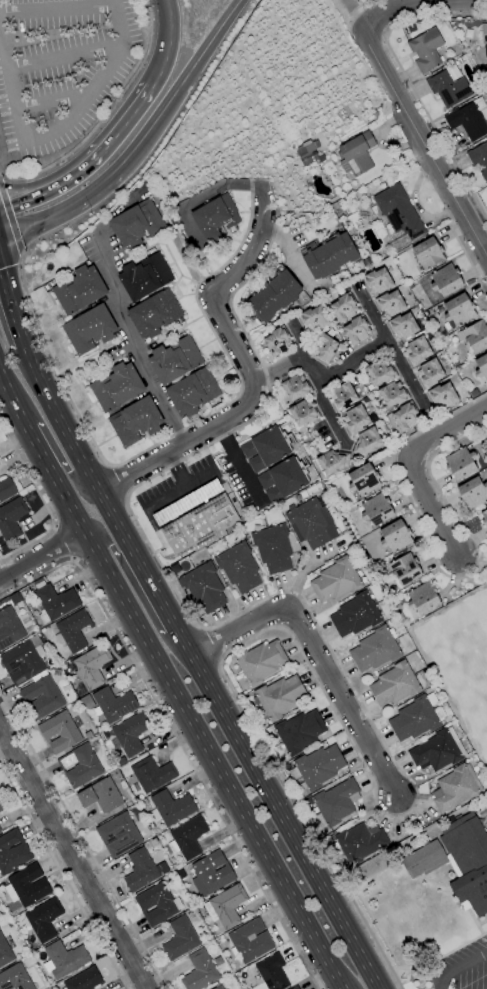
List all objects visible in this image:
road: (359, 6)
road: (391, 8)
road: (57, 9)
road: (356, 14)
building: (484, 36)
road: (166, 41)
building: (426, 50)
road: (66, 56)
parking lot: (60, 67)
road: (409, 82)
road: (180, 84)
building: (450, 86)
road: (53, 99)
building: (386, 109)
building: (469, 119)
road: (58, 129)
road: (424, 145)
road: (3, 151)
building: (309, 152)
building: (356, 154)
building: (479, 158)
road: (89, 159)
road: (11, 178)
road: (206, 193)
road: (63, 212)
building: (400, 216)
road: (11, 217)
building: (216, 217)
building: (137, 223)
road: (452, 231)
building: (311, 245)
road: (23, 253)
building: (428, 254)
road: (290, 255)
building: (331, 255)
road: (470, 261)
building: (367, 262)
building: (145, 276)
building: (379, 280)
building: (446, 280)
building: (79, 289)
building: (277, 295)
building: (391, 303)
building: (344, 307)
building: (440, 309)
road: (10, 310)
building: (459, 310)
building: (155, 313)
building: (314, 319)
building: (273, 325)
building: (404, 325)
road: (226, 326)
building: (90, 329)
building: (357, 330)
building: (475, 336)
road: (298, 338)
road: (131, 340)
building: (278, 341)
building: (324, 346)
road: (388, 346)
building: (437, 348)
building: (418, 350)
road: (355, 358)
building: (175, 359)
road: (291, 363)
building: (481, 366)
building: (381, 371)
building: (431, 372)
building: (117, 387)
building: (296, 387)
building: (193, 392)
building: (474, 393)
building: (393, 394)
building: (444, 395)
building: (344, 396)
road: (12, 399)
building: (304, 412)
road: (328, 412)
building: (406, 416)
building: (356, 419)
road: (57, 420)
building: (136, 421)
road: (429, 421)
road: (172, 435)
building: (367, 442)
road: (34, 443)
building: (267, 448)
building: (333, 461)
road: (409, 463)
building: (461, 463)
road: (239, 464)
road: (138, 470)
road: (70, 477)
building: (283, 479)
building: (364, 480)
building: (6, 489)
parking lot: (179, 493)
building: (473, 493)
road: (65, 497)
road: (42, 500)
road: (173, 500)
building: (188, 502)
building: (377, 509)
building: (484, 517)
building: (12, 518)
building: (312, 523)
building: (200, 525)
building: (395, 536)
road: (62, 542)
road: (66, 543)
building: (273, 548)
road: (23, 567)
building: (175, 567)
building: (239, 567)
road: (438, 567)
building: (405, 569)
building: (336, 580)
building: (204, 587)
road: (134, 589)
building: (423, 598)
building: (54, 601)
building: (0, 604)
building: (356, 615)
road: (282, 618)
building: (9, 627)
building: (73, 630)
building: (375, 650)
road: (316, 652)
building: (23, 662)
building: (261, 662)
building: (93, 665)
park: (464, 667)
building: (57, 672)
building: (395, 684)
building: (43, 696)
building: (279, 697)
building: (114, 704)
building: (417, 717)
road: (371, 722)
building: (300, 731)
building: (60, 732)
building: (130, 734)
road: (176, 737)
road: (237, 741)
building: (437, 751)
building: (122, 760)
road: (215, 760)
building: (80, 765)
building: (318, 767)
building: (153, 773)
building: (456, 788)
building: (102, 796)
building: (337, 801)
building: (143, 803)
building: (2, 806)
building: (171, 807)
building: (484, 816)
building: (0, 830)
building: (119, 834)
building: (187, 837)
road: (83, 840)
building: (360, 842)
building: (13, 852)
road: (71, 860)
building: (458, 861)
building: (141, 870)
building: (181, 873)
building: (212, 873)
road: (63, 876)
building: (29, 884)
building: (158, 904)
building: (226, 906)
building: (43, 919)
building: (181, 939)
building: (251, 941)
building: (5, 952)
building: (65, 959)
road: (459, 967)
building: (200, 971)
building: (273, 972)
parking lot: (463, 973)
road: (344, 974)
building: (15, 978)
building: (85, 979)
building: (219, 986)
building: (295, 988)

